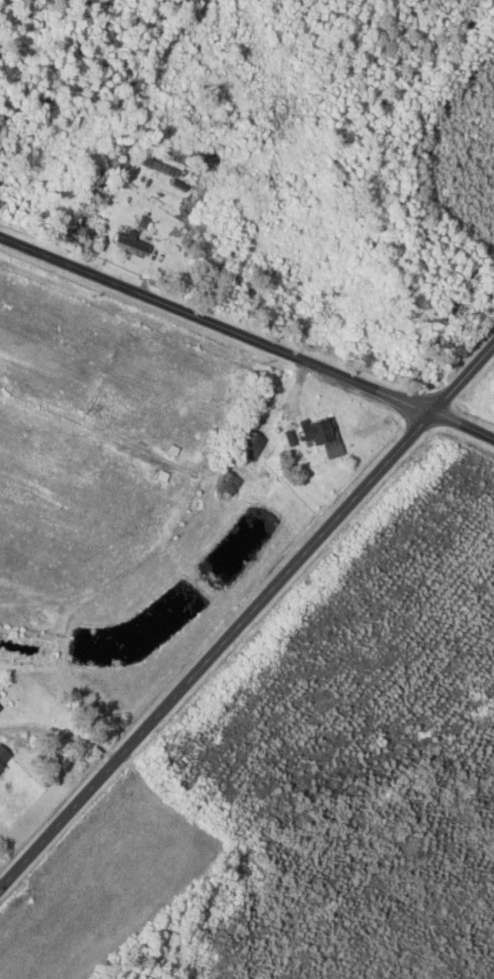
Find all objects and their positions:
road: (248, 343)
road: (246, 615)

